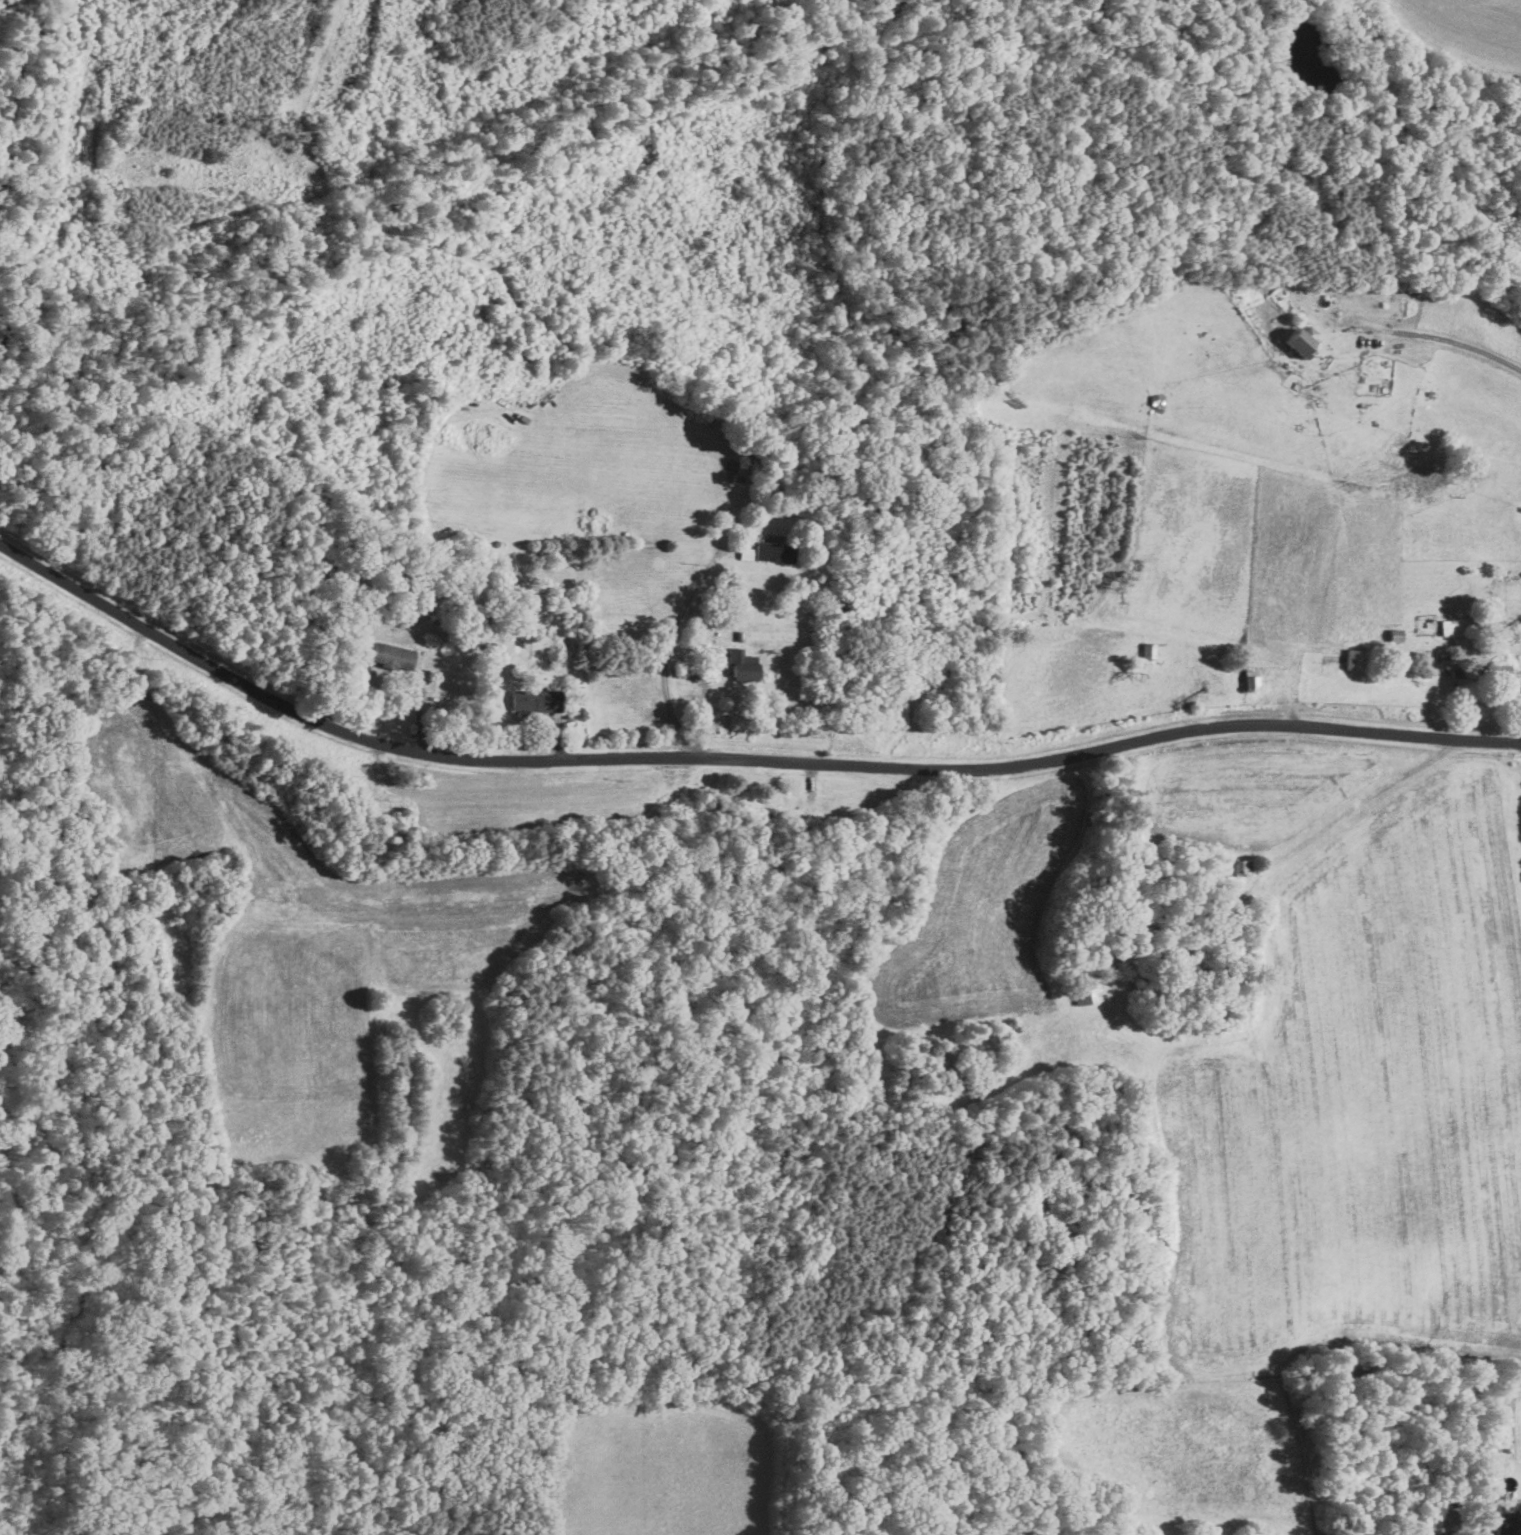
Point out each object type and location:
building: (1304, 338)
road: (1454, 341)
building: (775, 551)
building: (1455, 627)
road: (667, 652)
building: (391, 655)
building: (743, 664)
building: (1500, 670)
building: (1251, 678)
road: (701, 699)
building: (534, 700)
road: (737, 759)
building: (1509, 1524)

